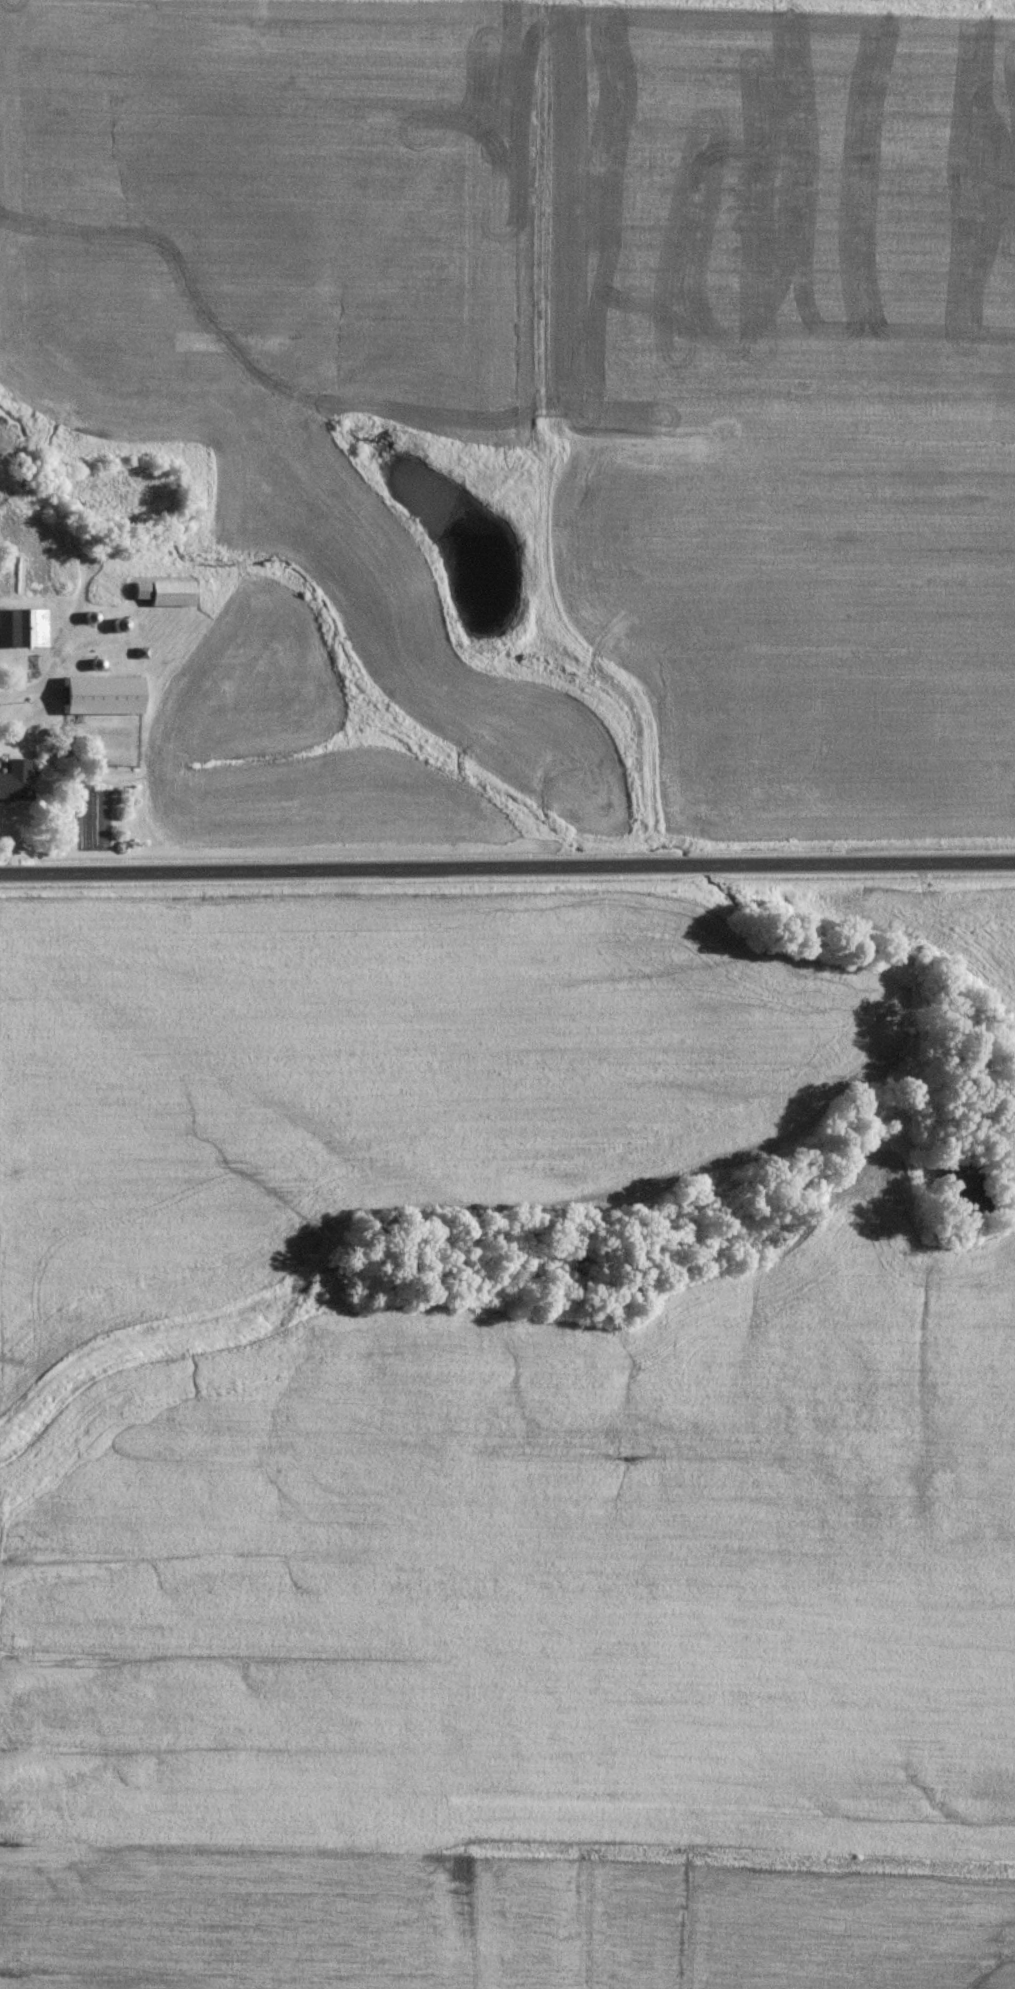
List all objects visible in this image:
building: (164, 592)
building: (22, 627)
building: (100, 695)
building: (16, 780)
road: (507, 866)

